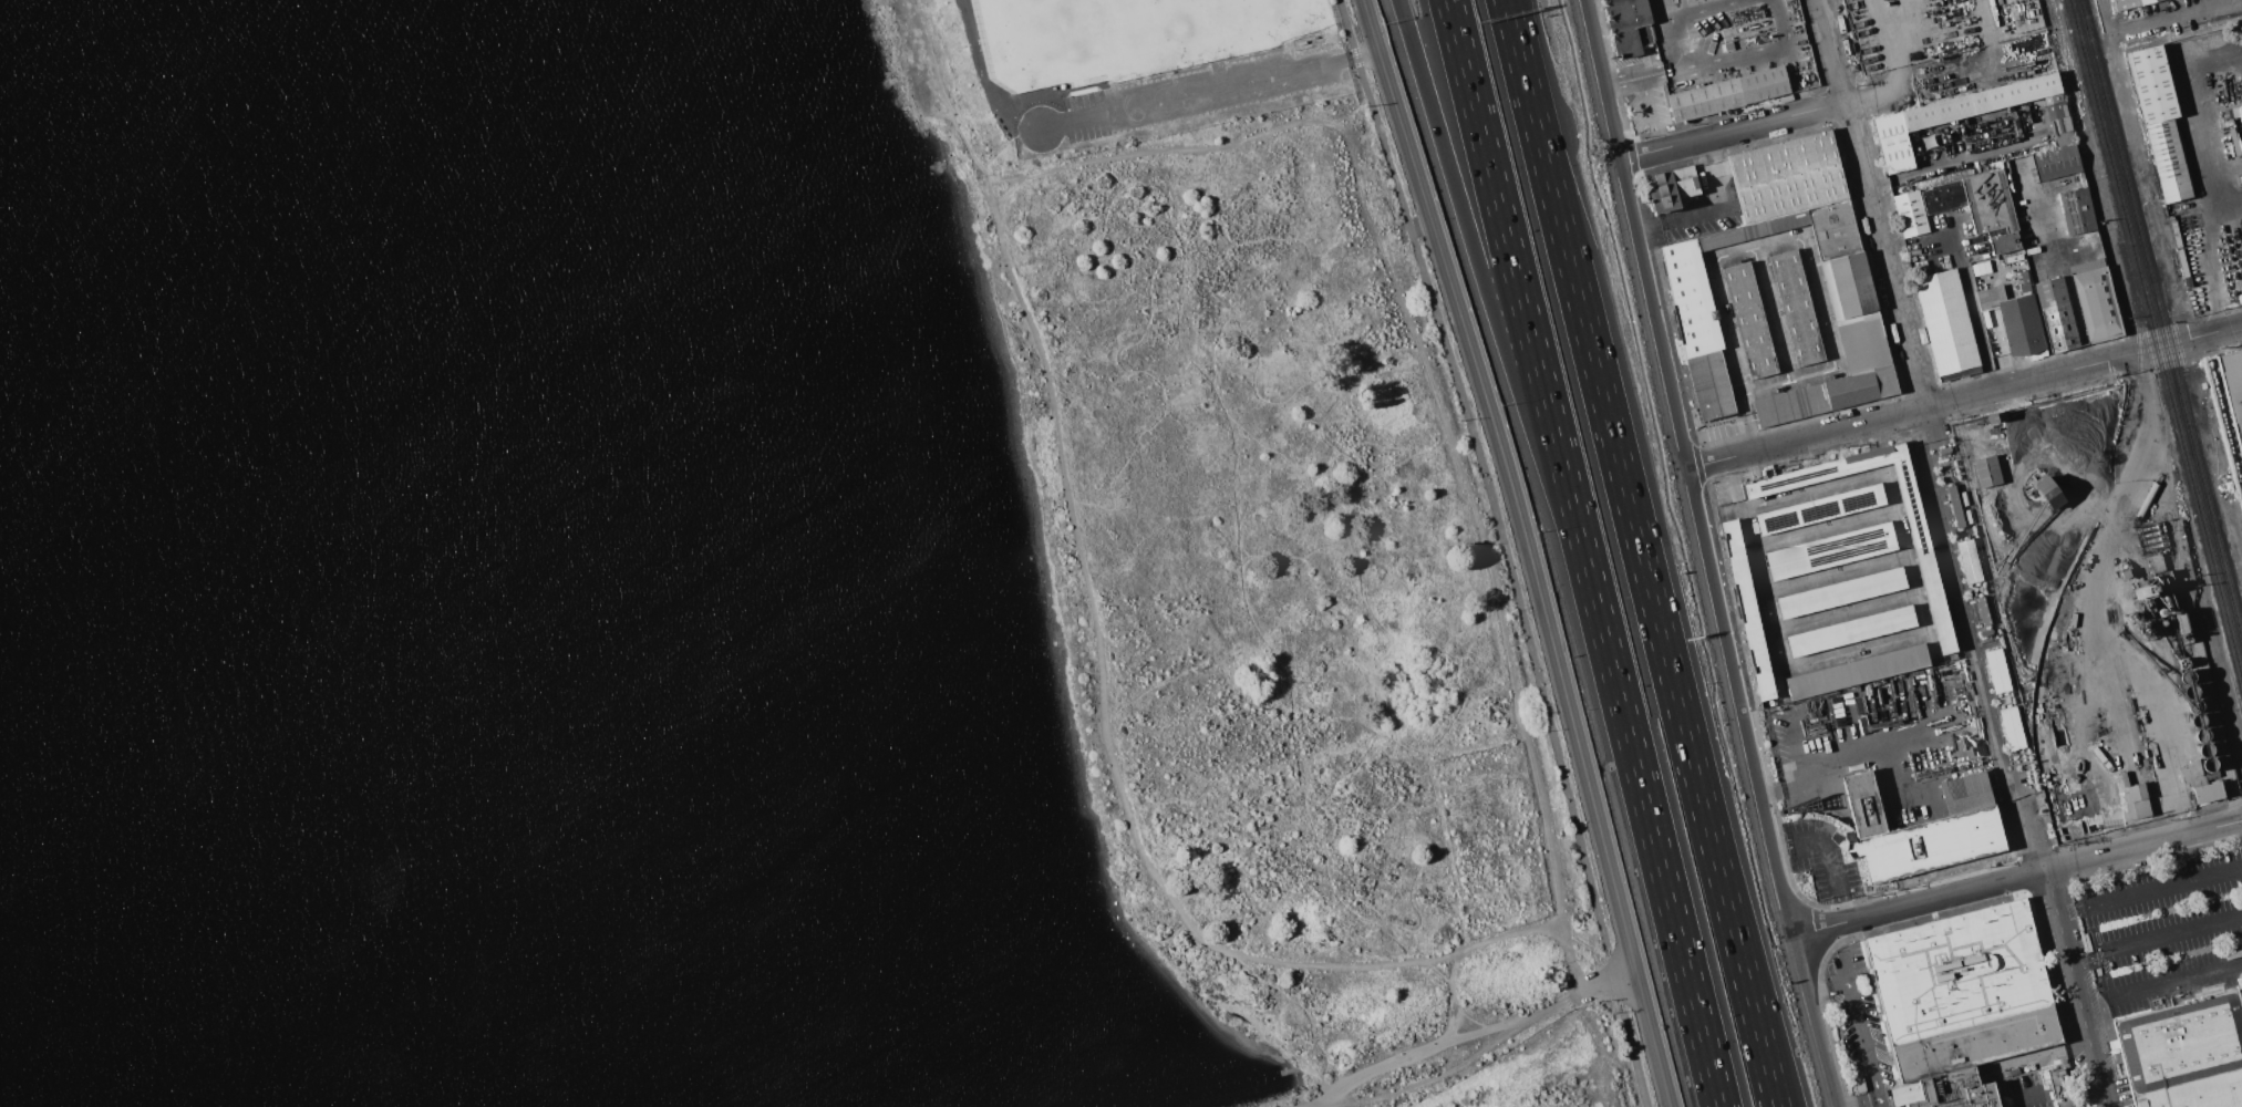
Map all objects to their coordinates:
building: (2128, 3)
building: (2025, 14)
road: (2179, 15)
road: (2106, 17)
park: (1217, 18)
building: (1628, 25)
park: (1057, 31)
road: (1986, 33)
road: (1693, 61)
road: (1523, 62)
road: (1532, 62)
road: (1971, 73)
railway: (2079, 74)
road: (1640, 75)
road: (982, 76)
road: (1210, 90)
road: (1060, 91)
building: (1727, 94)
road: (1879, 95)
parking lot: (1180, 96)
railway: (1856, 106)
road: (1651, 113)
building: (1969, 116)
road: (982, 118)
building: (2160, 121)
road: (1730, 133)
road: (1008, 142)
road: (1955, 159)
building: (2058, 163)
road: (2212, 174)
building: (1787, 178)
building: (1672, 188)
road: (2231, 199)
road: (1872, 204)
building: (1981, 207)
building: (2078, 211)
building: (1911, 214)
road: (1680, 219)
road: (1806, 234)
road: (1394, 235)
road: (1517, 283)
road: (1484, 286)
building: (1850, 289)
building: (2238, 291)
building: (2096, 301)
building: (1798, 308)
road: (1771, 314)
building: (2057, 314)
railway: (2160, 319)
building: (2015, 320)
building: (1749, 321)
building: (1947, 324)
road: (2221, 333)
railway: (2156, 338)
road: (1415, 344)
railway: (2177, 345)
road: (2164, 348)
road: (1998, 349)
railway: (2152, 363)
railway: (2139, 364)
building: (2233, 389)
railway: (1926, 390)
road: (1904, 413)
road: (1748, 422)
building: (1986, 470)
road: (1734, 484)
parking lot: (1733, 485)
building: (2048, 492)
building: (1821, 509)
road: (1822, 529)
building: (2151, 538)
road: (1506, 549)
road: (1529, 549)
building: (1831, 551)
road: (1699, 555)
building: (1969, 560)
road: (1833, 573)
building: (1930, 575)
park: (1285, 577)
building: (1842, 592)
road: (2095, 599)
building: (1748, 611)
road: (1843, 612)
building: (1978, 612)
road: (1655, 614)
building: (1852, 631)
road: (1925, 632)
road: (1984, 639)
building: (1996, 670)
railway: (2231, 671)
building: (1858, 672)
road: (1103, 684)
road: (1848, 755)
building: (2200, 783)
building: (2135, 803)
road: (2217, 825)
building: (1924, 828)
road: (1653, 837)
road: (2117, 850)
road: (1829, 852)
road: (2241, 866)
road: (2147, 889)
road: (1914, 902)
road: (2171, 935)
road: (2084, 961)
railway: (2075, 973)
road: (1220, 976)
road: (2176, 980)
road: (1609, 981)
road: (1825, 989)
road: (2074, 989)
building: (1959, 992)
road: (1451, 994)
road: (1305, 1011)
railway: (2091, 1024)
road: (1863, 1041)
road: (1440, 1044)
building: (2184, 1055)
park: (1533, 1067)
building: (2059, 1088)
building: (1955, 1092)
road: (2023, 1094)
park: (1277, 1101)
road: (1862, 1103)
road: (1881, 1103)
road: (1776, 1106)
road: (1776, 1106)

